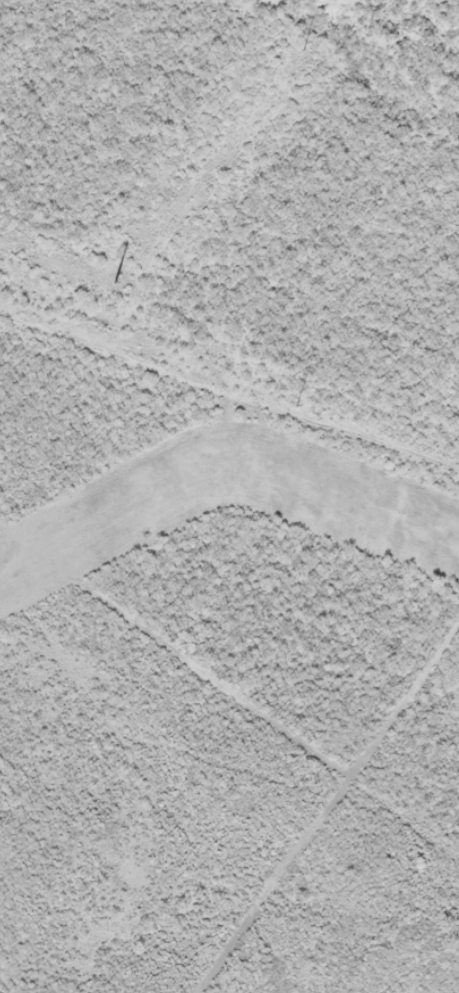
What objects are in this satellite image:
power tower: (305, 52)
road: (234, 272)
power tower: (117, 285)
power tower: (295, 406)

